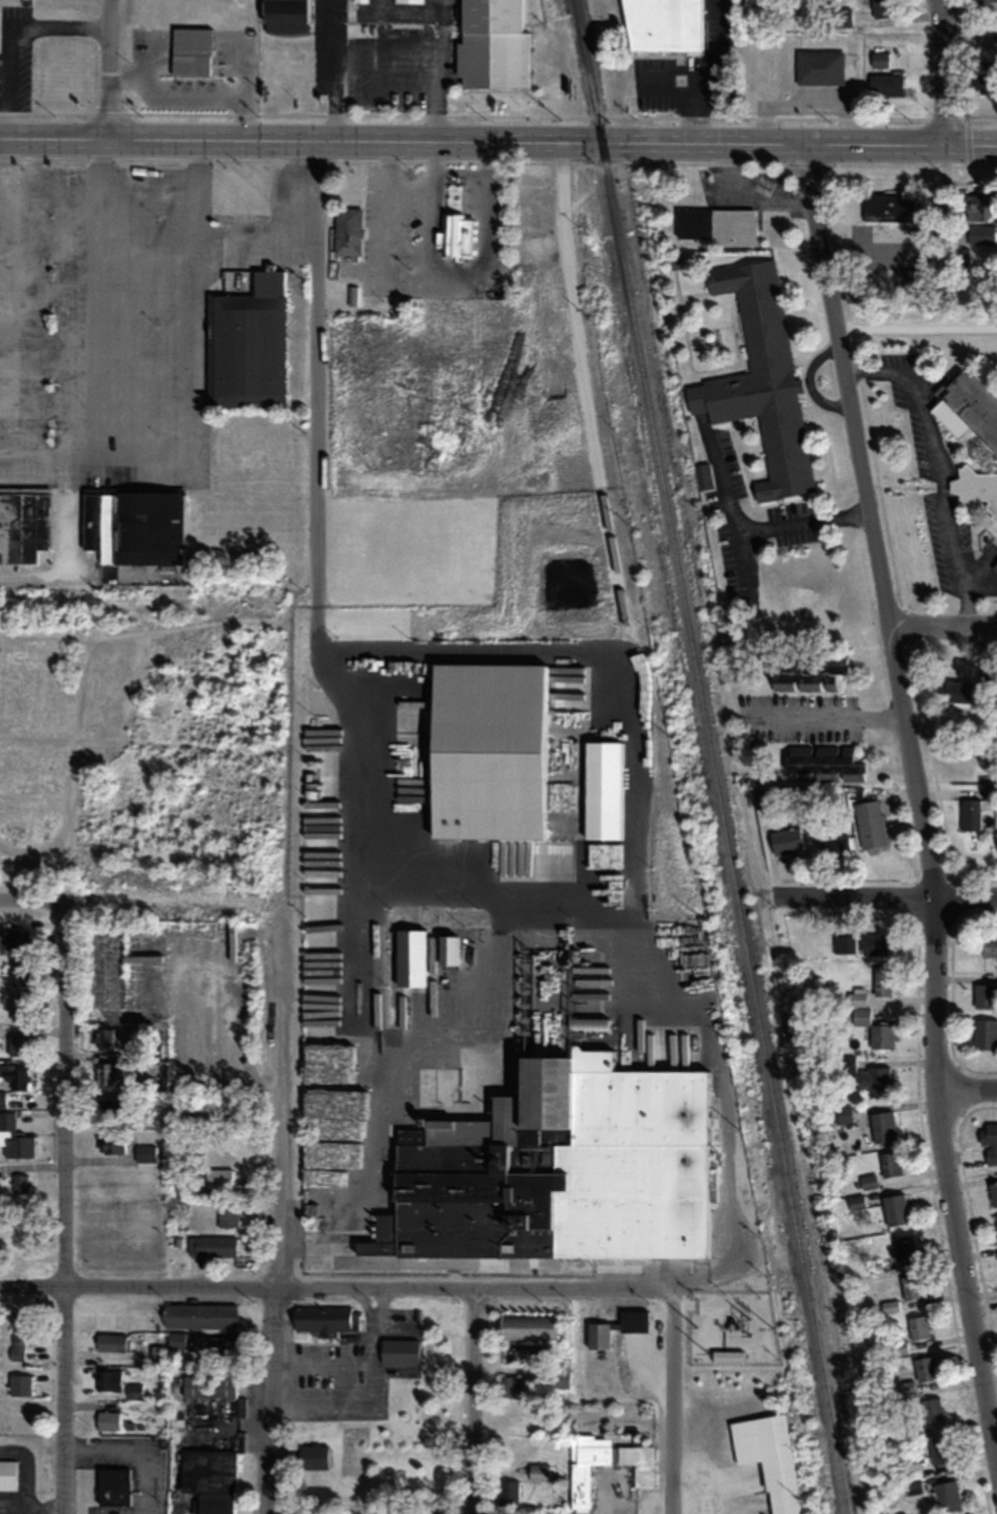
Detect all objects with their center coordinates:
building: (982, 0)
building: (359, 1)
building: (408, 1)
building: (882, 8)
building: (284, 15)
building: (841, 17)
building: (655, 24)
building: (492, 44)
building: (190, 50)
building: (879, 58)
building: (818, 66)
road: (108, 69)
road: (944, 71)
building: (981, 76)
building: (884, 84)
road: (498, 140)
building: (977, 206)
building: (886, 207)
building: (528, 208)
building: (716, 225)
building: (346, 232)
building: (455, 234)
building: (978, 234)
building: (960, 259)
road: (915, 326)
building: (247, 344)
building: (759, 377)
building: (967, 409)
building: (977, 488)
building: (23, 523)
building: (133, 525)
building: (995, 565)
road: (942, 626)
building: (804, 672)
building: (958, 693)
building: (983, 700)
road: (338, 725)
railway: (710, 757)
building: (824, 762)
building: (764, 797)
road: (916, 800)
building: (968, 814)
building: (867, 823)
building: (785, 840)
building: (832, 842)
building: (996, 842)
road: (884, 894)
road: (31, 897)
building: (16, 939)
building: (872, 943)
building: (841, 944)
building: (988, 945)
building: (410, 957)
building: (20, 975)
building: (880, 981)
building: (983, 996)
building: (855, 997)
building: (19, 1010)
building: (859, 1015)
building: (591, 1023)
building: (984, 1034)
building: (880, 1036)
building: (104, 1038)
building: (18, 1046)
building: (111, 1072)
building: (15, 1076)
building: (875, 1081)
road: (971, 1093)
building: (2, 1099)
building: (108, 1107)
building: (843, 1114)
building: (881, 1126)
building: (15, 1138)
building: (989, 1140)
building: (111, 1142)
building: (146, 1153)
building: (889, 1163)
building: (561, 1167)
building: (218, 1178)
building: (868, 1181)
building: (20, 1183)
building: (993, 1192)
building: (856, 1201)
building: (895, 1208)
road: (65, 1209)
building: (227, 1215)
building: (995, 1223)
road: (278, 1224)
building: (903, 1245)
building: (211, 1246)
road: (338, 1286)
building: (910, 1286)
building: (199, 1315)
building: (325, 1319)
building: (634, 1320)
building: (528, 1326)
building: (919, 1327)
power substation: (735, 1329)
power tower: (772, 1329)
building: (19, 1334)
building: (598, 1335)
building: (112, 1342)
building: (176, 1344)
building: (221, 1347)
building: (398, 1351)
building: (925, 1368)
building: (560, 1378)
building: (108, 1379)
building: (19, 1384)
building: (209, 1386)
building: (512, 1387)
building: (134, 1392)
road: (474, 1401)
road: (674, 1401)
building: (933, 1410)
building: (107, 1420)
building: (940, 1452)
building: (770, 1455)
building: (313, 1456)
building: (638, 1462)
building: (585, 1464)
building: (538, 1472)
building: (7, 1474)
building: (209, 1480)
building: (113, 1486)
building: (507, 1492)
building: (946, 1496)
power tower: (807, 1501)
building: (393, 1510)

